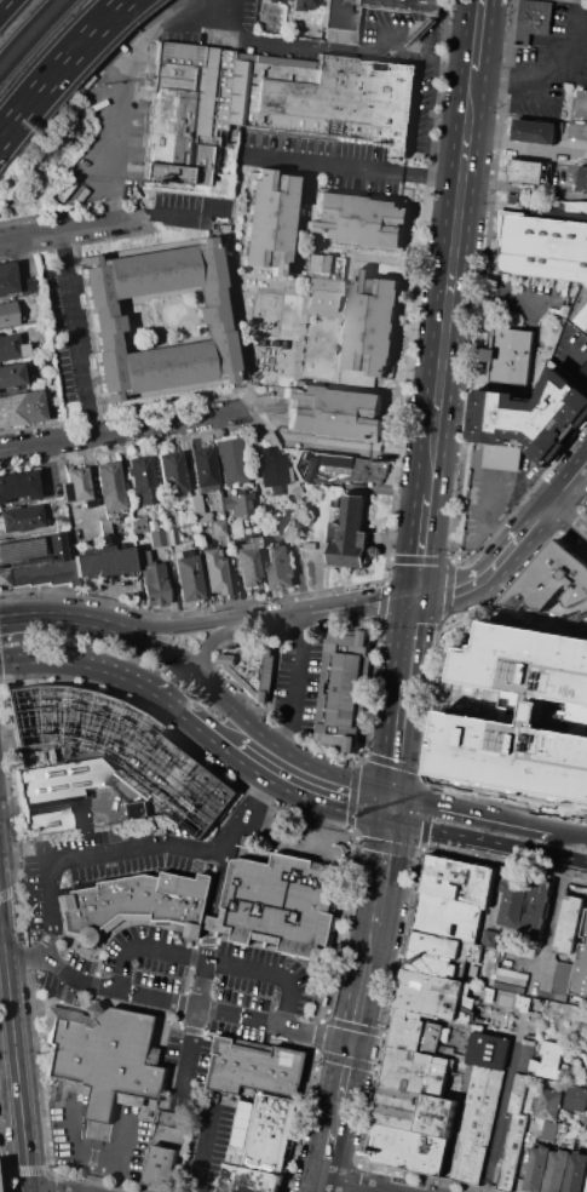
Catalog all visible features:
building: (270, 0)
building: (278, 0)
building: (301, 4)
building: (404, 6)
road: (231, 15)
building: (534, 19)
building: (341, 21)
railway: (23, 27)
road: (399, 31)
road: (480, 34)
railway: (33, 36)
road: (351, 47)
road: (79, 55)
road: (65, 56)
road: (138, 65)
road: (551, 67)
road: (476, 79)
building: (324, 97)
building: (582, 104)
building: (185, 111)
road: (7, 125)
building: (534, 131)
building: (577, 131)
road: (357, 165)
building: (525, 171)
building: (582, 178)
road: (525, 207)
building: (267, 220)
building: (358, 220)
road: (94, 229)
building: (543, 246)
building: (315, 263)
building: (151, 273)
building: (7, 279)
building: (30, 285)
road: (451, 291)
building: (321, 293)
road: (503, 302)
building: (214, 311)
building: (7, 314)
building: (582, 317)
building: (373, 323)
building: (103, 327)
road: (75, 337)
building: (12, 346)
building: (510, 355)
building: (40, 362)
road: (563, 362)
building: (165, 367)
building: (583, 368)
building: (11, 374)
building: (45, 392)
building: (333, 411)
building: (15, 412)
building: (533, 412)
road: (121, 434)
building: (502, 455)
building: (230, 462)
building: (271, 469)
building: (367, 469)
building: (203, 470)
building: (172, 472)
building: (143, 480)
building: (17, 486)
building: (74, 486)
building: (109, 487)
road: (484, 488)
road: (91, 492)
road: (582, 503)
building: (236, 504)
building: (586, 508)
building: (196, 510)
road: (582, 512)
road: (257, 515)
building: (168, 516)
building: (213, 516)
building: (21, 517)
road: (571, 518)
road: (566, 520)
building: (151, 526)
building: (104, 528)
building: (218, 528)
building: (346, 531)
building: (171, 535)
building: (156, 538)
road: (424, 546)
building: (56, 548)
building: (22, 551)
road: (514, 552)
building: (179, 555)
building: (143, 558)
building: (103, 562)
building: (248, 563)
parking lot: (315, 565)
building: (280, 567)
building: (215, 573)
building: (42, 574)
building: (4, 579)
building: (186, 579)
road: (317, 580)
building: (553, 580)
building: (152, 584)
road: (453, 588)
traffic signals: (420, 601)
road: (324, 609)
road: (29, 613)
road: (97, 617)
road: (524, 617)
road: (180, 626)
road: (414, 640)
road: (207, 643)
road: (92, 659)
building: (252, 669)
road: (197, 675)
parking lot: (298, 684)
road: (439, 688)
road: (295, 690)
building: (344, 693)
road: (444, 693)
fountain: (466, 697)
road: (466, 697)
road: (495, 700)
road: (489, 701)
building: (523, 714)
building: (38, 720)
road: (205, 727)
road: (401, 741)
power substation: (117, 753)
road: (260, 753)
road: (397, 762)
road: (334, 790)
building: (57, 793)
road: (352, 795)
traffic signals: (393, 804)
road: (472, 806)
building: (139, 810)
road: (253, 810)
road: (428, 810)
road: (569, 826)
road: (487, 842)
road: (387, 844)
road: (86, 856)
road: (382, 863)
building: (457, 881)
building: (281, 899)
building: (513, 899)
building: (138, 902)
road: (215, 904)
building: (535, 904)
building: (569, 922)
road: (1, 927)
building: (448, 929)
building: (490, 938)
building: (506, 958)
road: (212, 961)
building: (431, 963)
building: (581, 969)
parking lot: (174, 970)
building: (564, 978)
road: (359, 982)
road: (203, 985)
building: (489, 993)
building: (433, 996)
building: (522, 1001)
road: (175, 1004)
building: (416, 1033)
traffic signals: (350, 1045)
road: (16, 1049)
building: (489, 1049)
building: (108, 1058)
building: (549, 1060)
building: (258, 1067)
road: (345, 1068)
building: (416, 1070)
building: (576, 1098)
building: (549, 1104)
road: (192, 1105)
road: (502, 1105)
building: (399, 1106)
road: (335, 1111)
building: (436, 1114)
building: (477, 1125)
building: (549, 1130)
building: (272, 1131)
building: (513, 1142)
building: (408, 1147)
road: (450, 1147)
building: (168, 1152)
road: (327, 1153)
road: (97, 1154)
building: (537, 1168)
building: (557, 1170)
road: (97, 1173)
building: (576, 1173)
building: (249, 1179)
road: (321, 1185)
road: (356, 1185)
road: (39, 1190)
road: (384, 1191)
building: (586, 1191)

